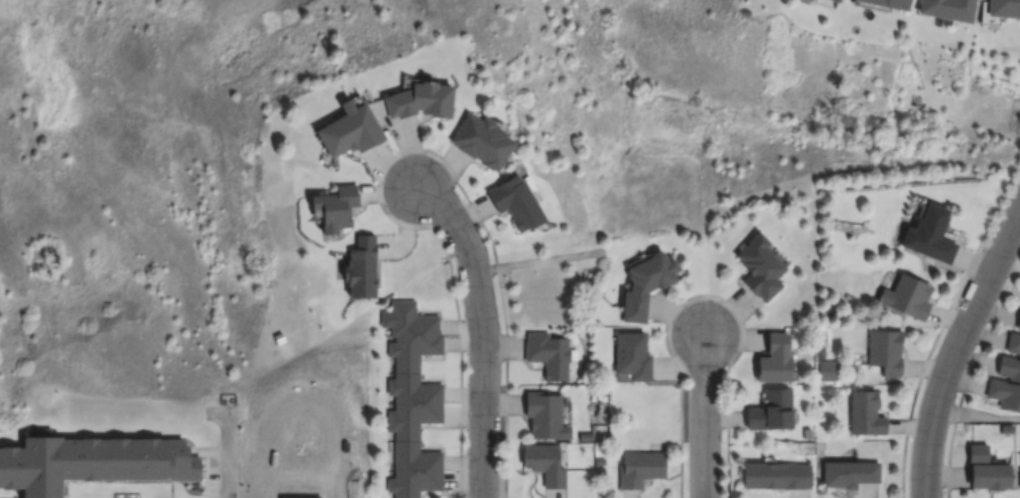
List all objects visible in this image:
building: (833, 2)
building: (889, 3)
building: (1003, 8)
building: (946, 9)
building: (427, 103)
building: (351, 136)
building: (488, 144)
building: (518, 204)
building: (337, 207)
building: (931, 236)
building: (765, 270)
building: (365, 271)
building: (647, 289)
building: (907, 300)
building: (1018, 321)
road: (479, 335)
building: (1013, 343)
road: (958, 346)
building: (886, 356)
building: (633, 357)
building: (549, 358)
building: (776, 364)
building: (1006, 383)
building: (412, 399)
building: (776, 412)
road: (706, 417)
building: (549, 420)
building: (868, 420)
road: (233, 456)
building: (88, 466)
building: (547, 467)
building: (640, 471)
building: (1019, 473)
building: (853, 477)
building: (778, 478)
building: (991, 478)

